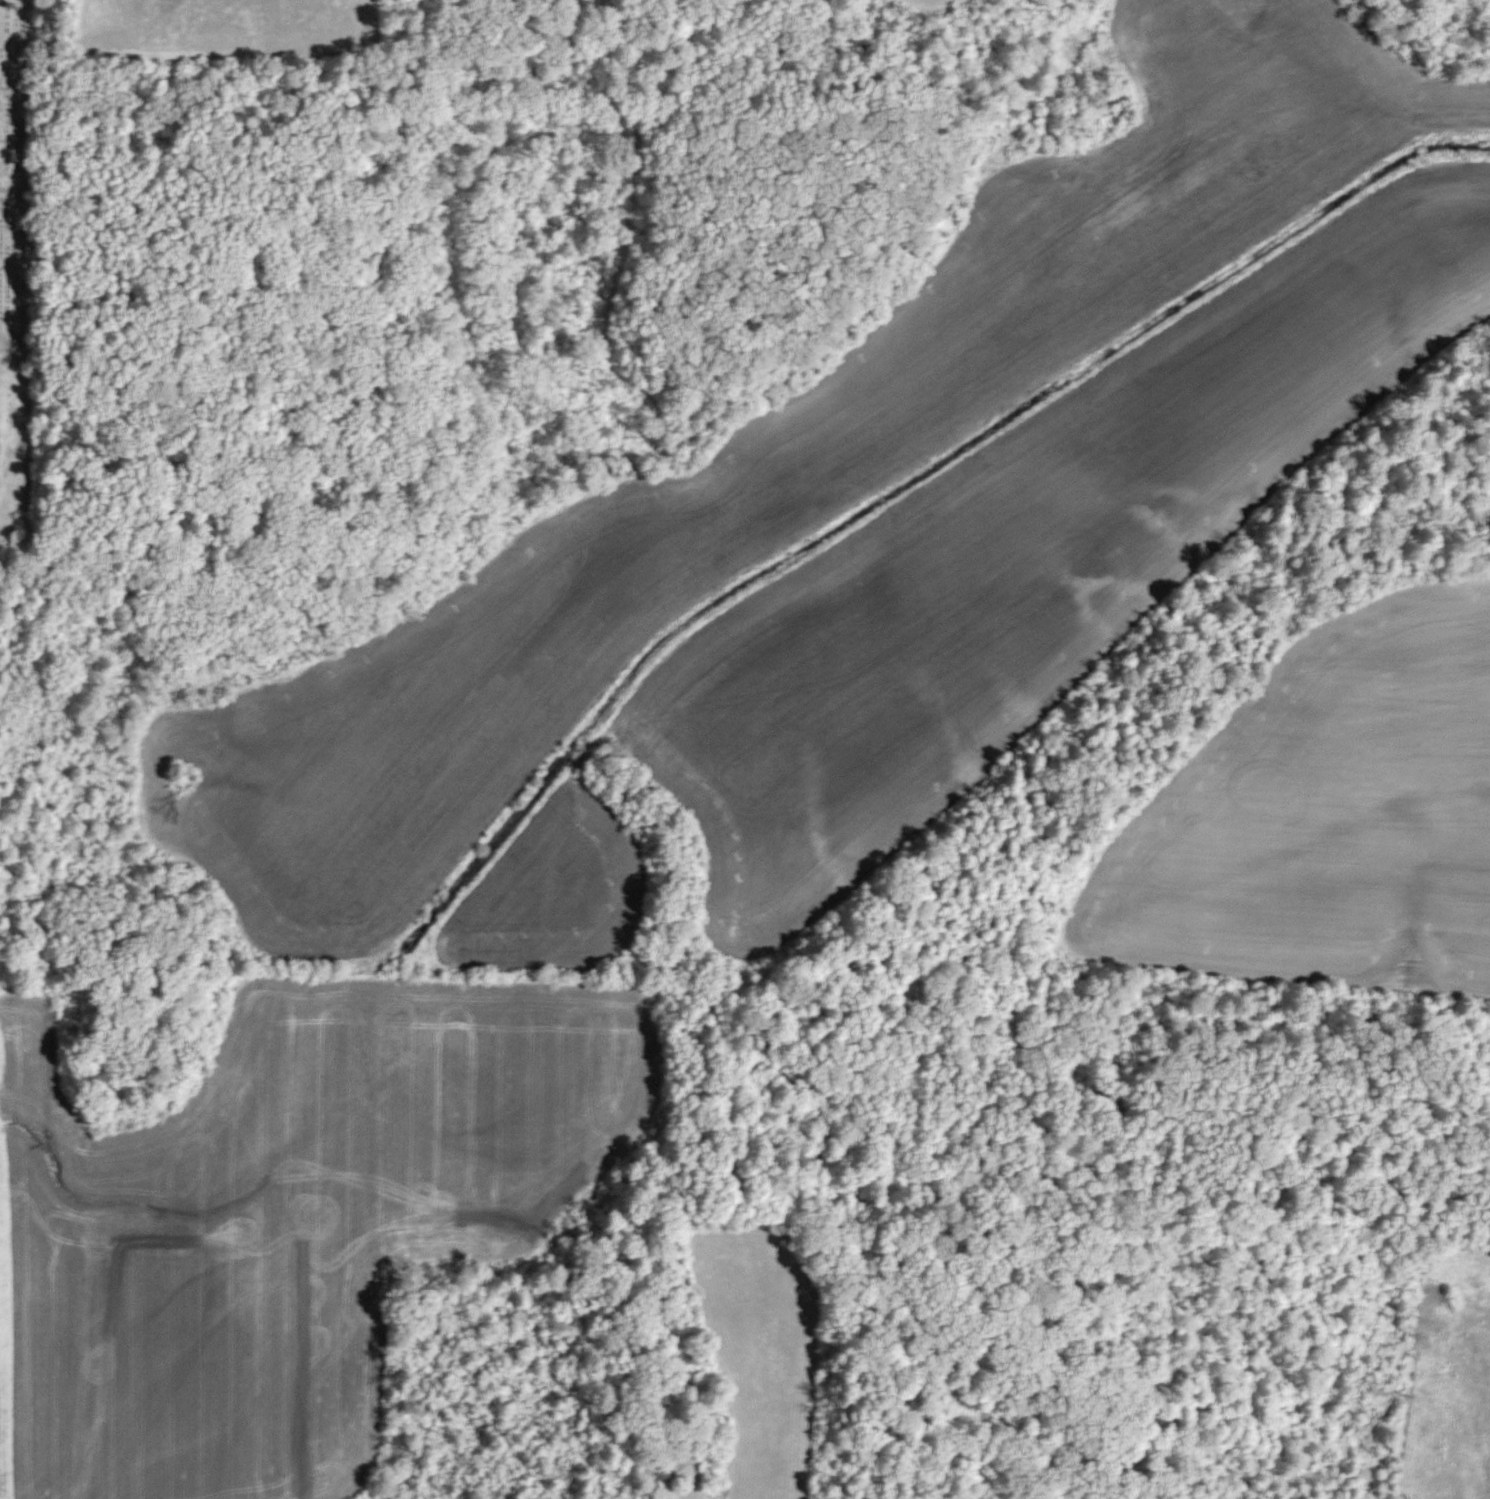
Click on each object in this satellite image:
park: (13, 289)

